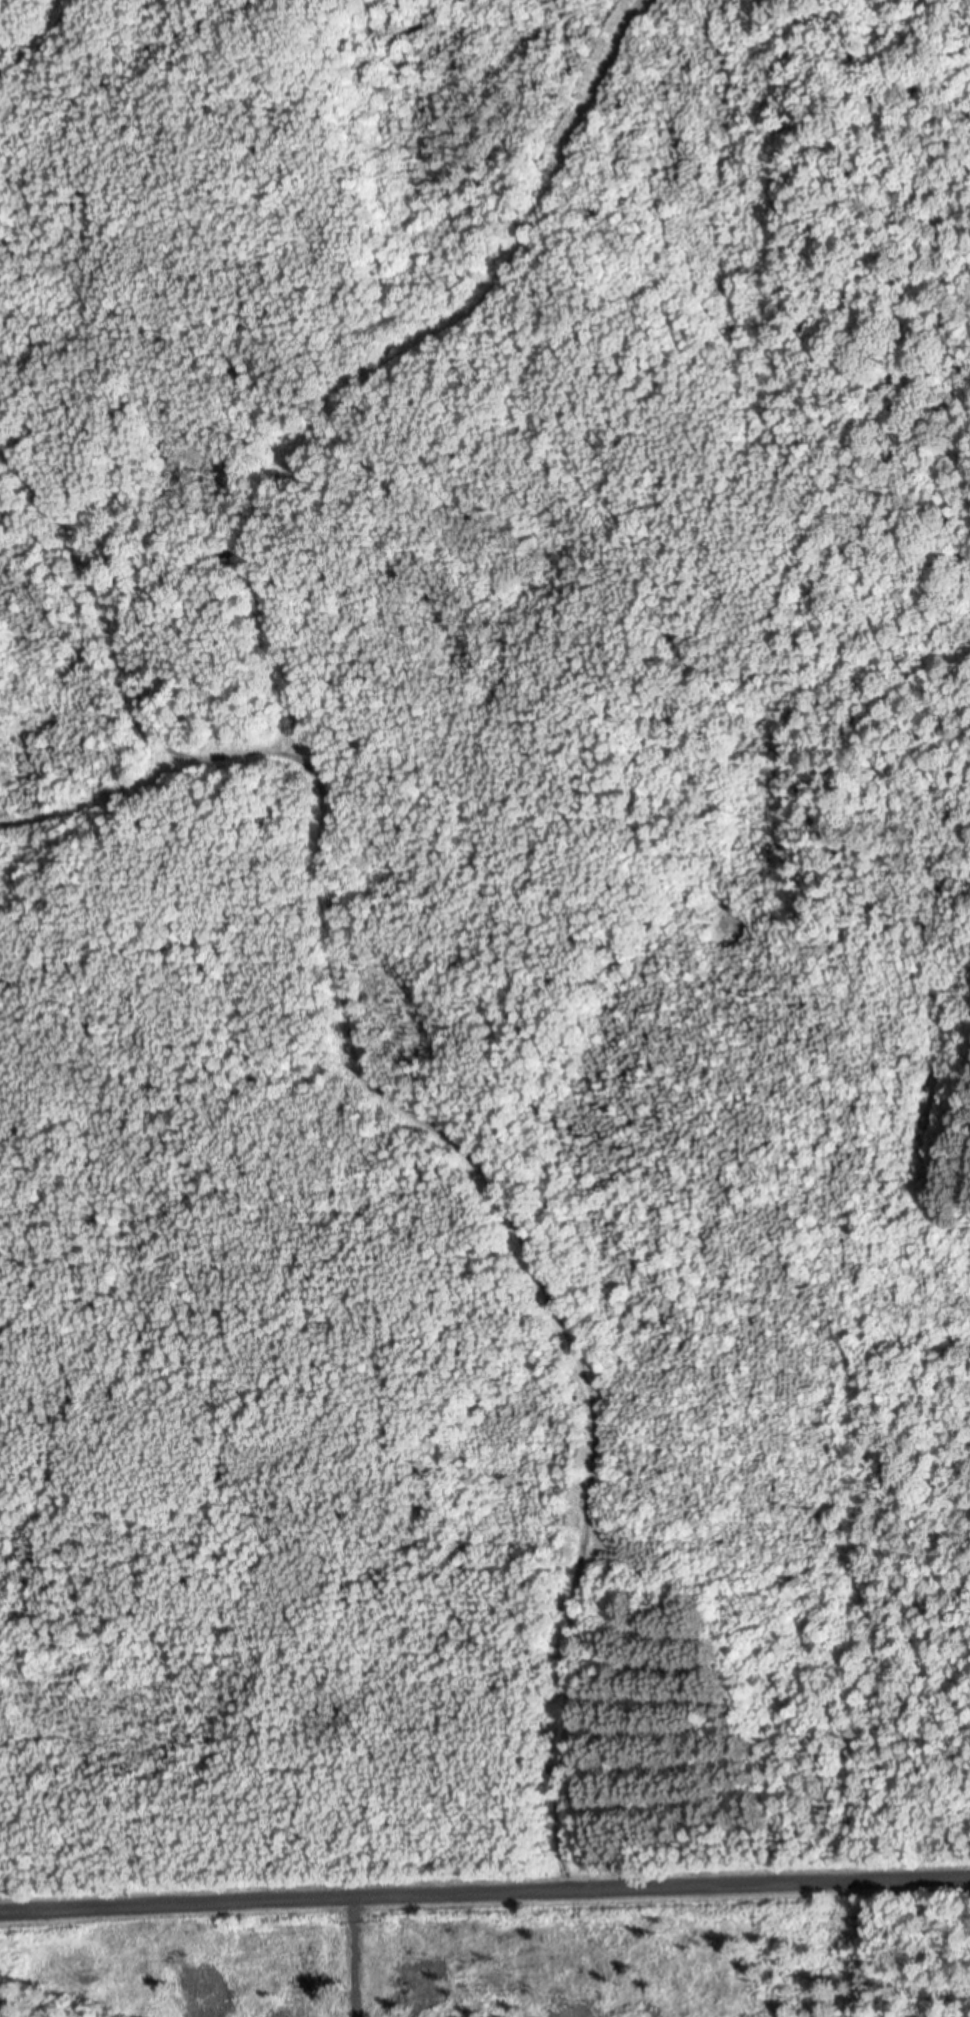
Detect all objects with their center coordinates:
road: (485, 1890)
park: (931, 1948)

